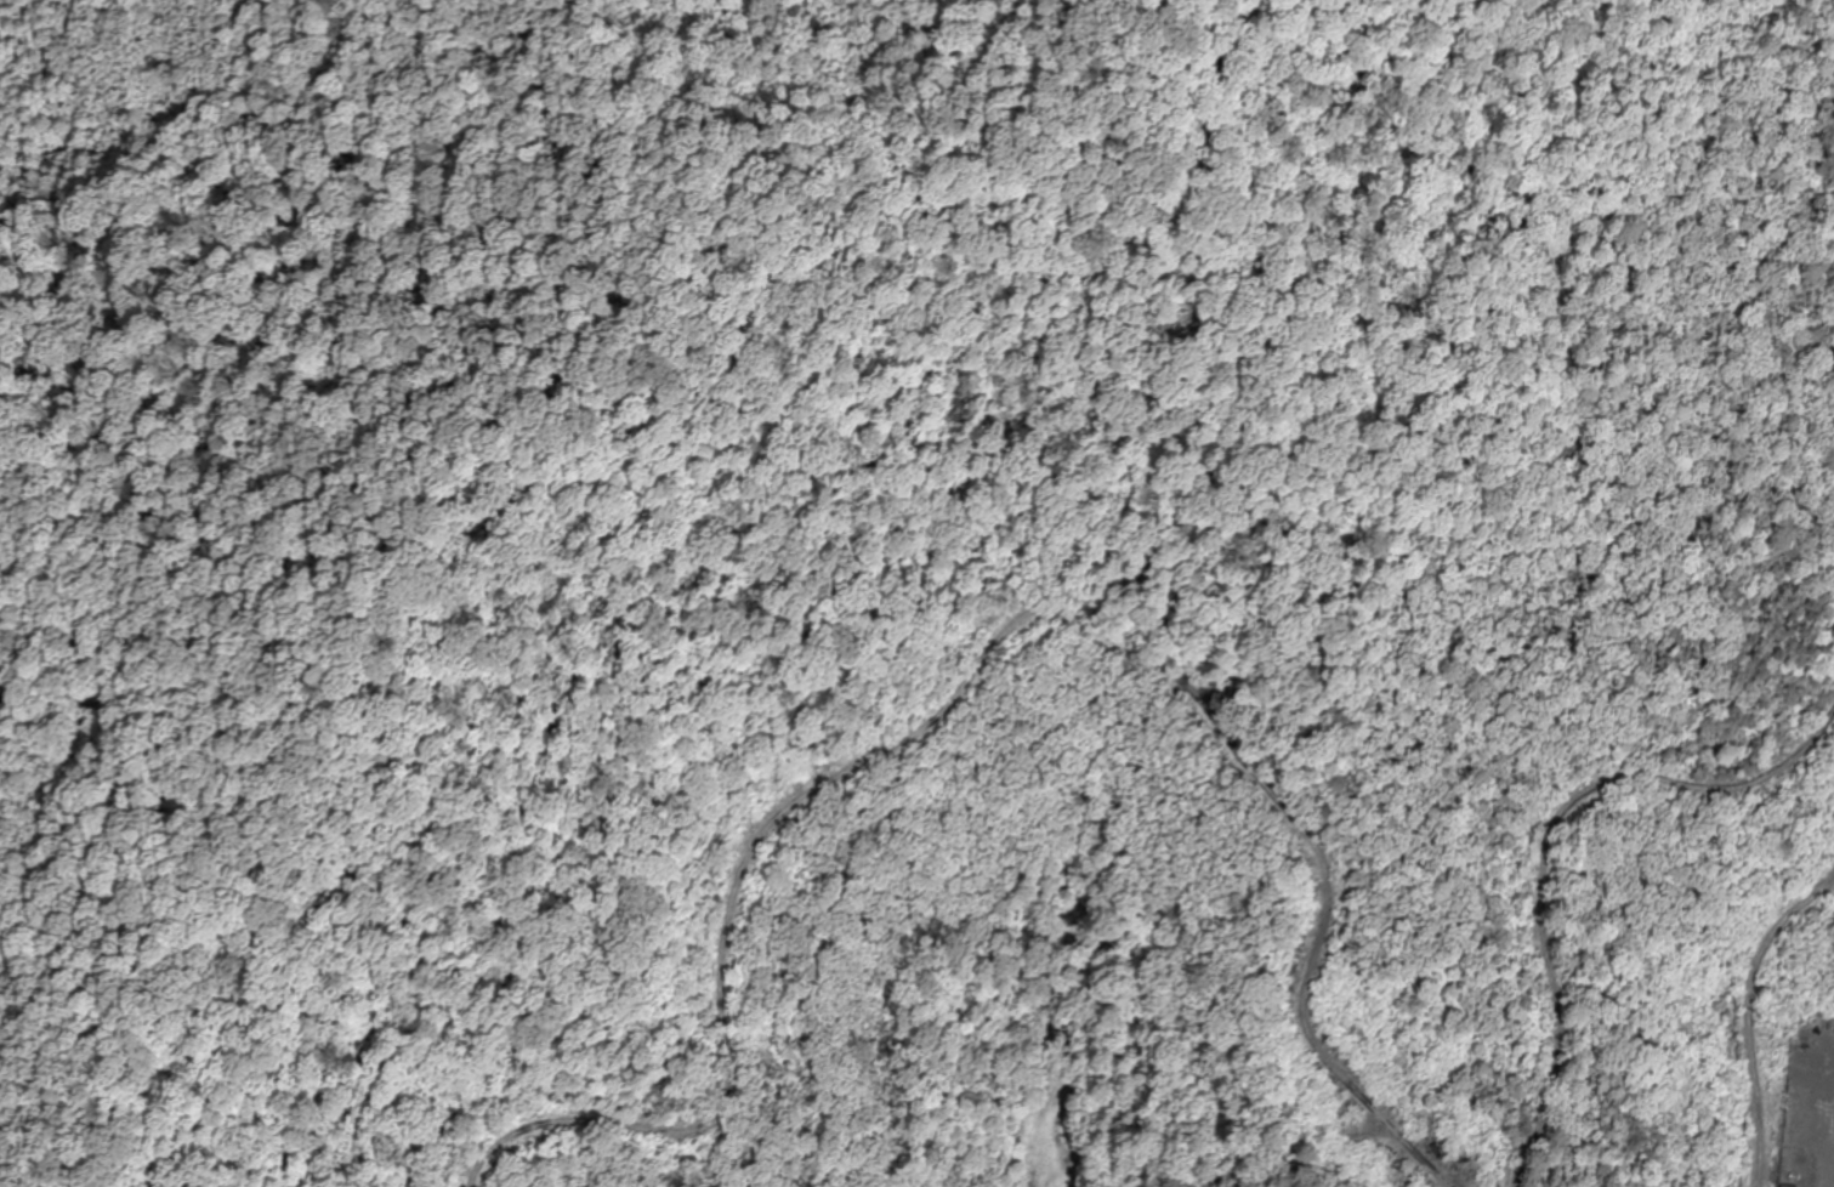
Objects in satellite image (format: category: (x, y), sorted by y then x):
building: (1806, 1073)

